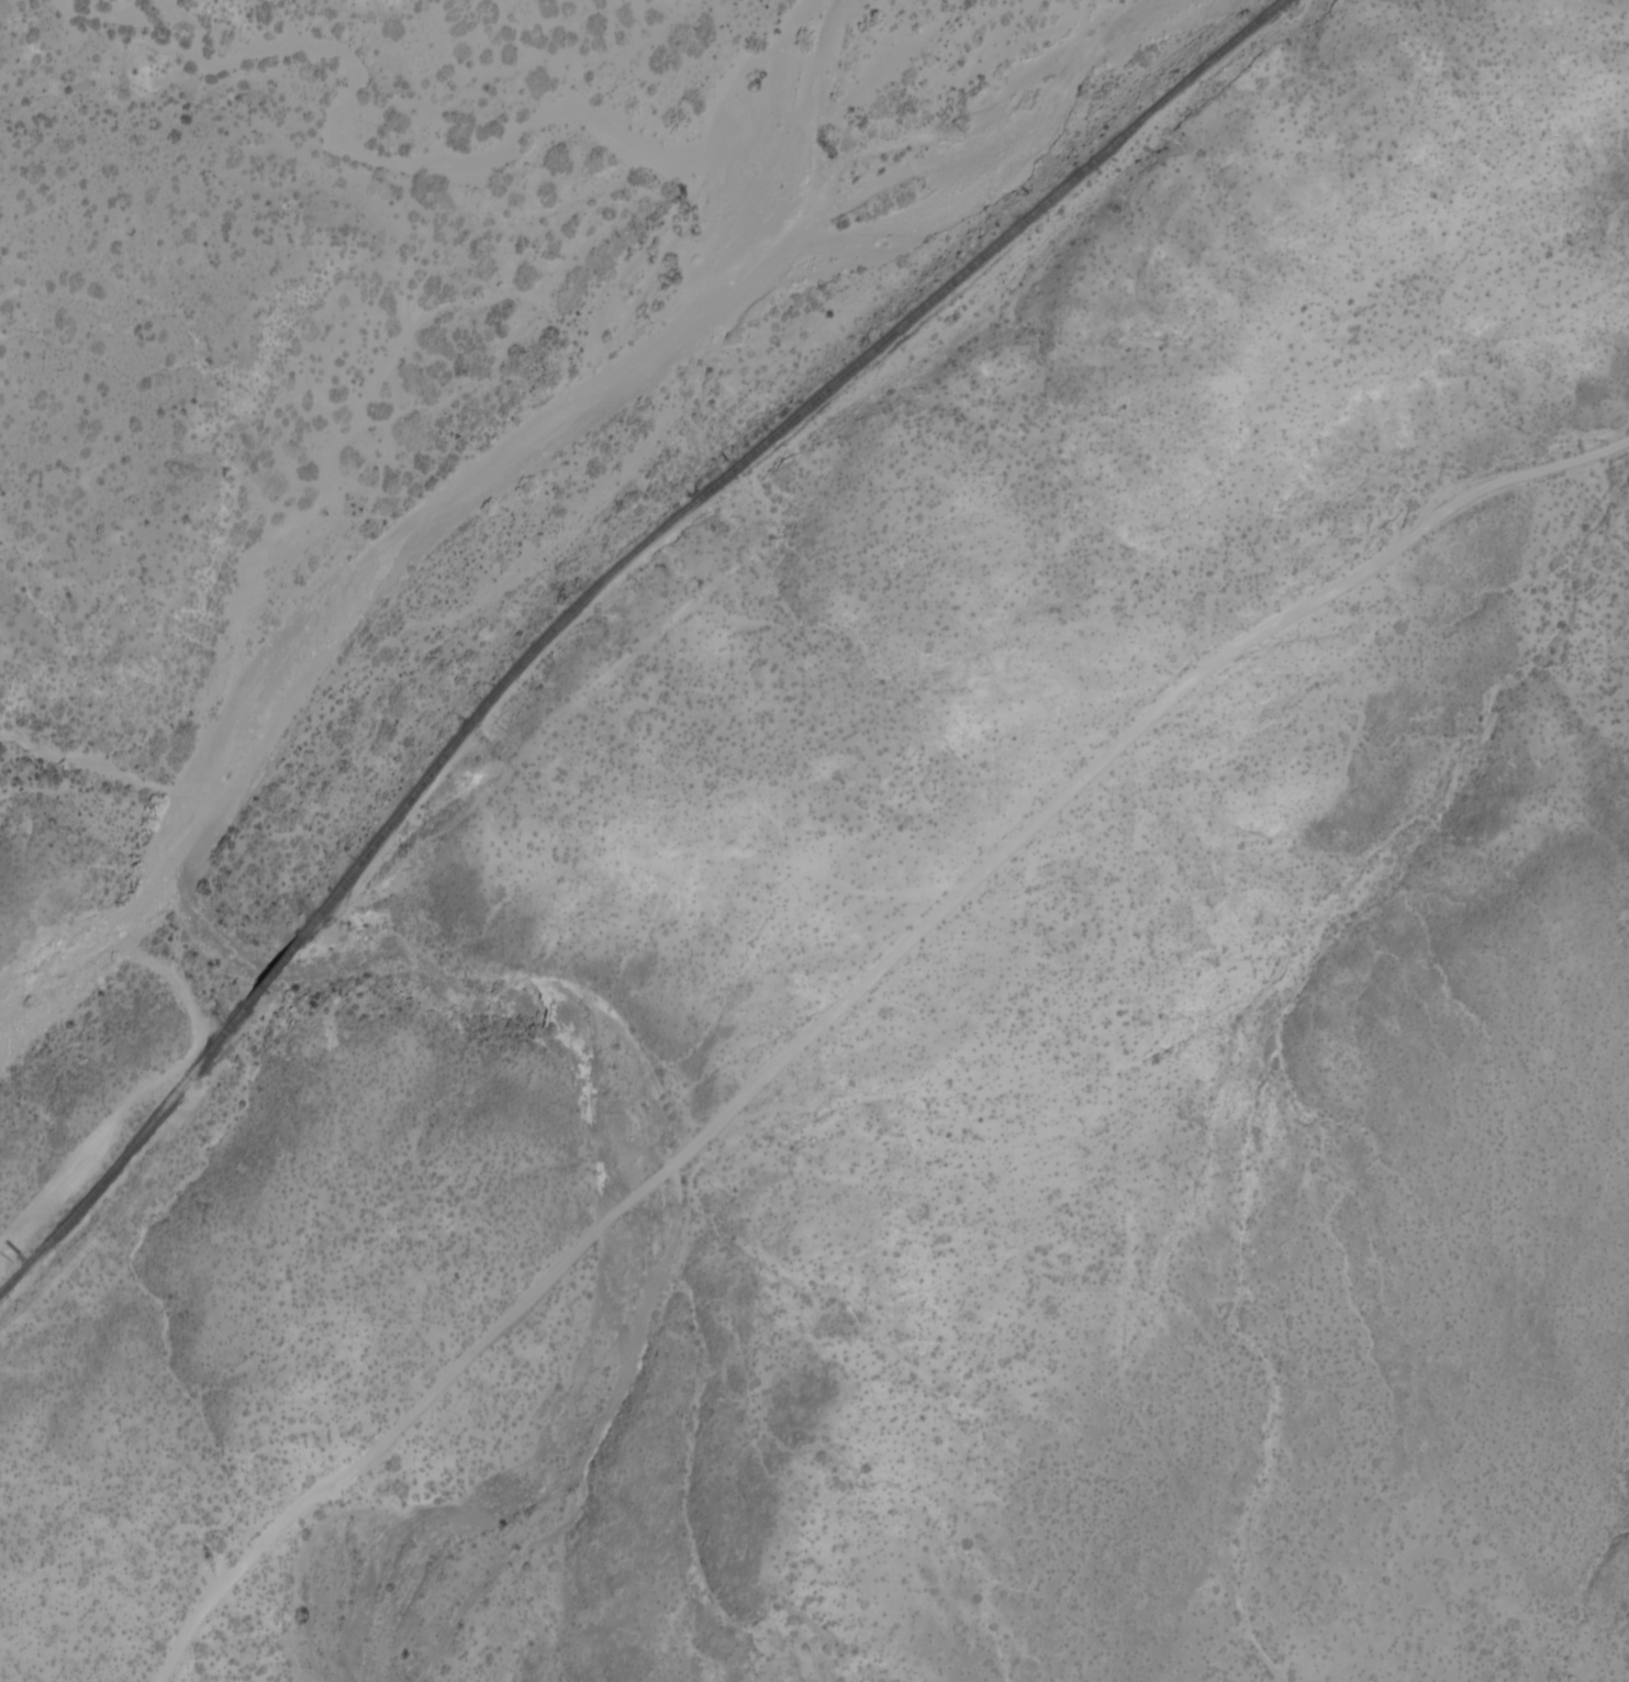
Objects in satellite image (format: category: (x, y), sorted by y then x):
railway: (760, 442)
river: (429, 504)
road: (1111, 748)
railway: (268, 970)
railway: (125, 1150)
road: (398, 1415)

